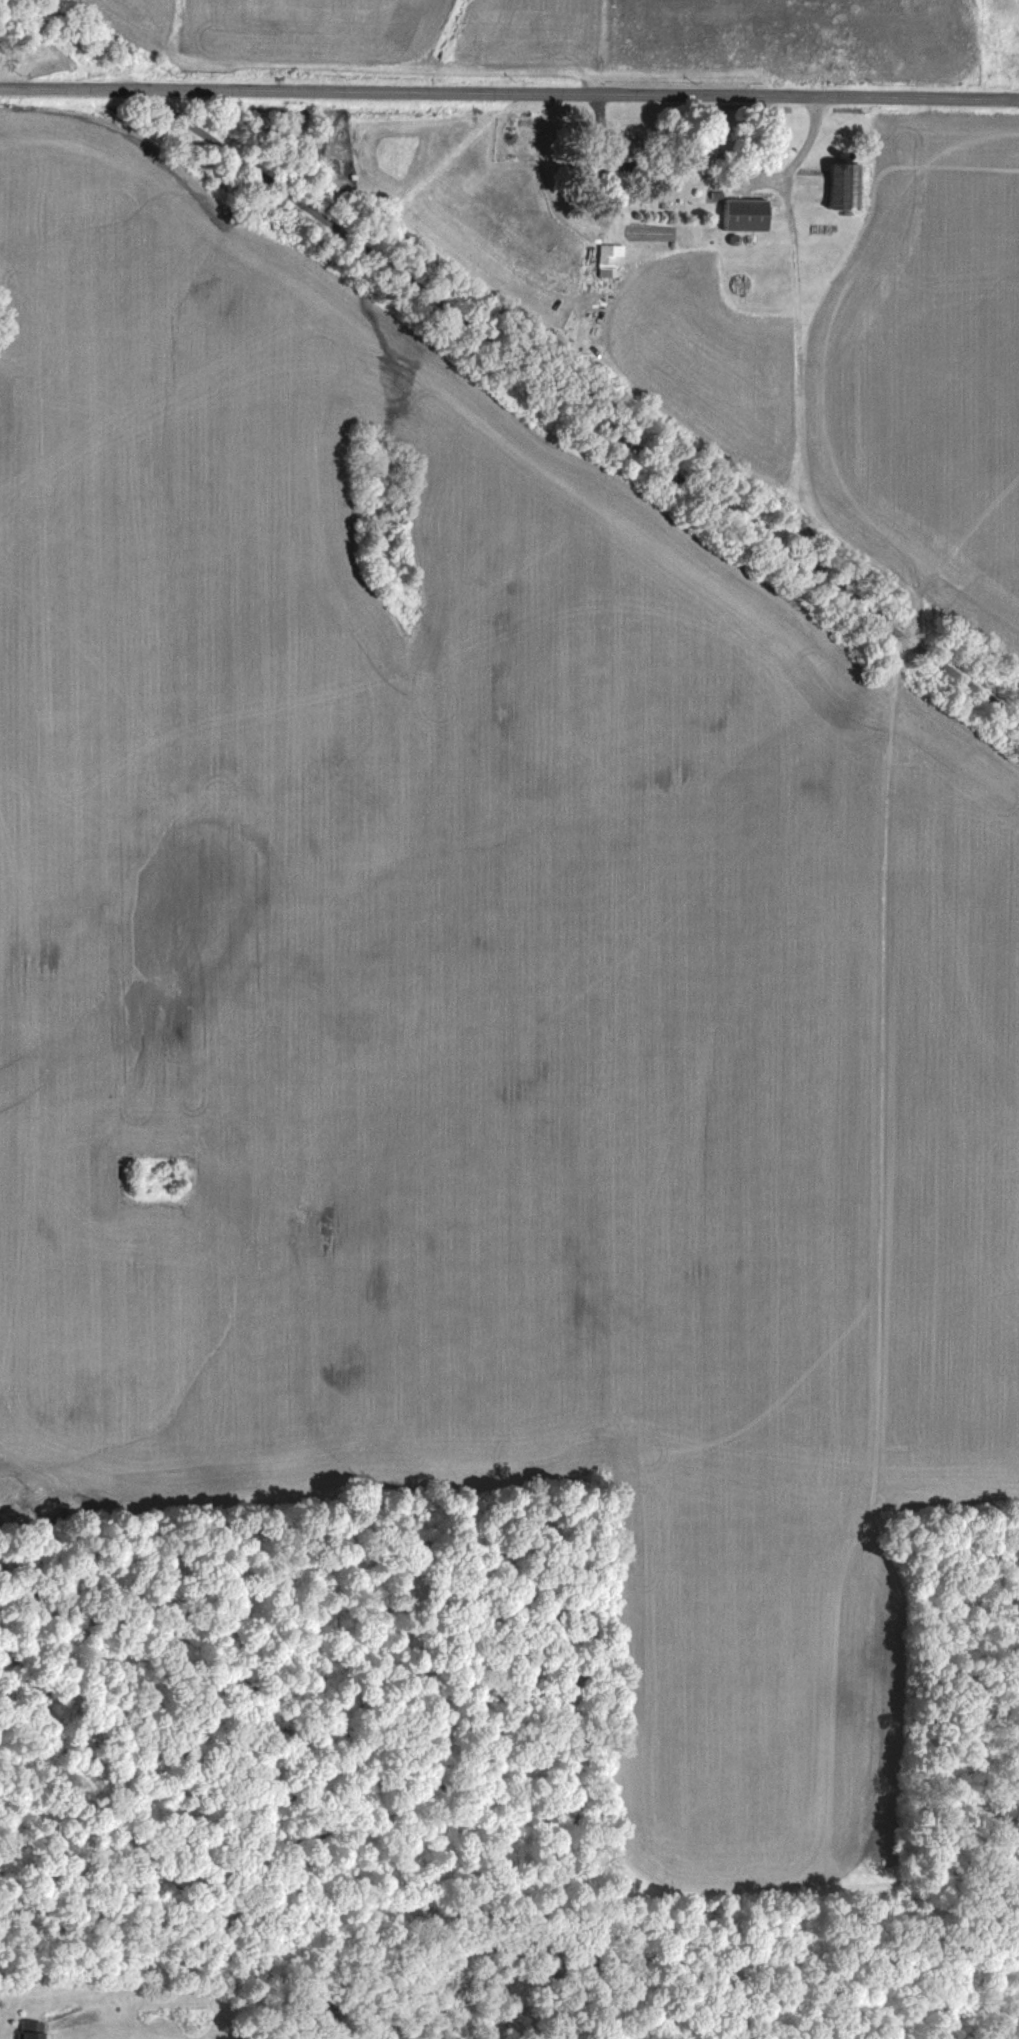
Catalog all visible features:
road: (509, 92)
building: (710, 151)
building: (615, 152)
road: (781, 171)
building: (836, 187)
building: (740, 214)
road: (589, 387)
building: (25, 2029)

